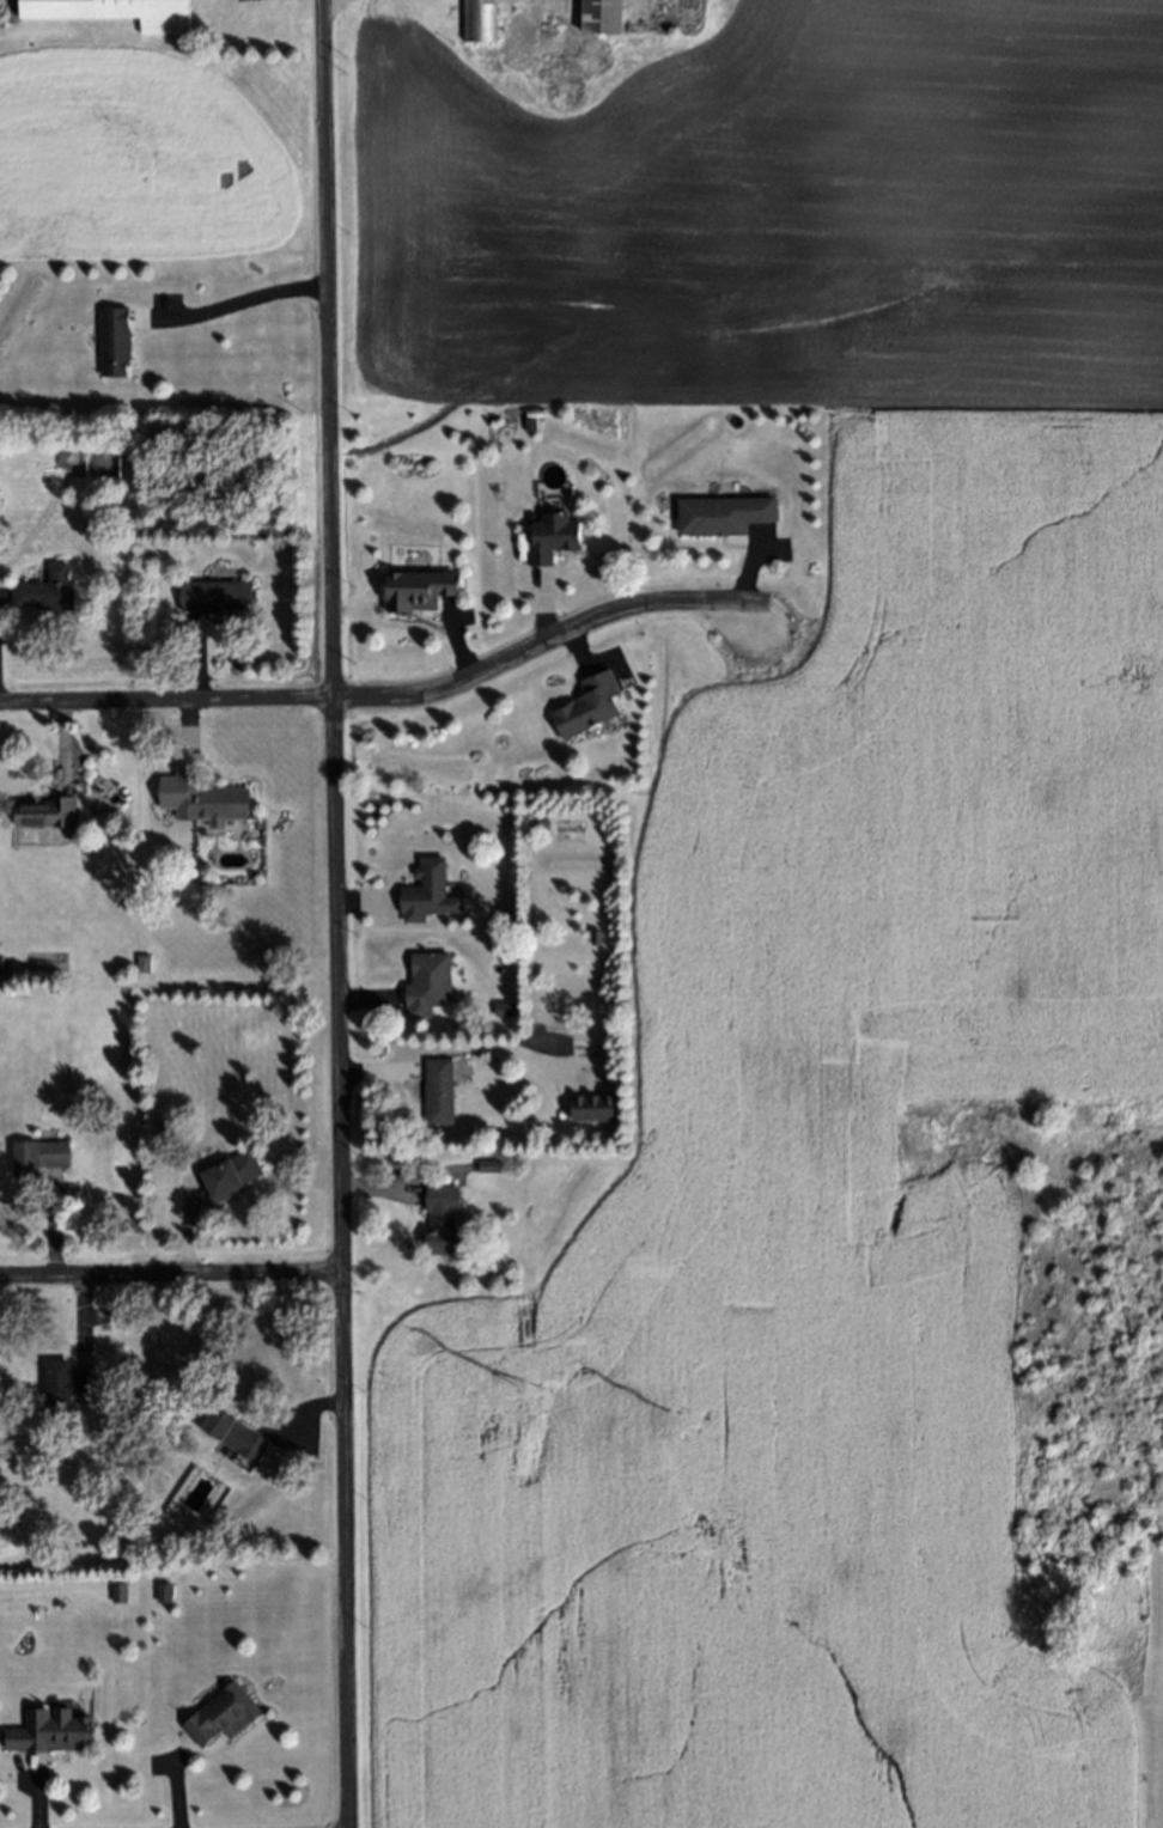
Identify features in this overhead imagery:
building: (111, 11)
building: (598, 16)
building: (475, 19)
building: (507, 29)
building: (547, 57)
building: (583, 57)
building: (507, 59)
building: (481, 60)
road: (227, 304)
building: (110, 333)
building: (719, 512)
building: (549, 534)
building: (414, 589)
building: (44, 593)
building: (212, 598)
road: (542, 641)
road: (163, 699)
building: (584, 702)
building: (208, 804)
building: (41, 805)
building: (422, 890)
road: (329, 914)
building: (590, 932)
building: (597, 945)
building: (138, 956)
building: (0, 963)
building: (142, 963)
building: (433, 976)
building: (500, 1006)
building: (436, 1093)
building: (589, 1104)
building: (38, 1147)
building: (483, 1162)
building: (226, 1174)
building: (438, 1221)
road: (170, 1274)
building: (63, 1387)
building: (231, 1438)
building: (158, 1589)
building: (114, 1590)
building: (219, 1713)
building: (51, 1729)

